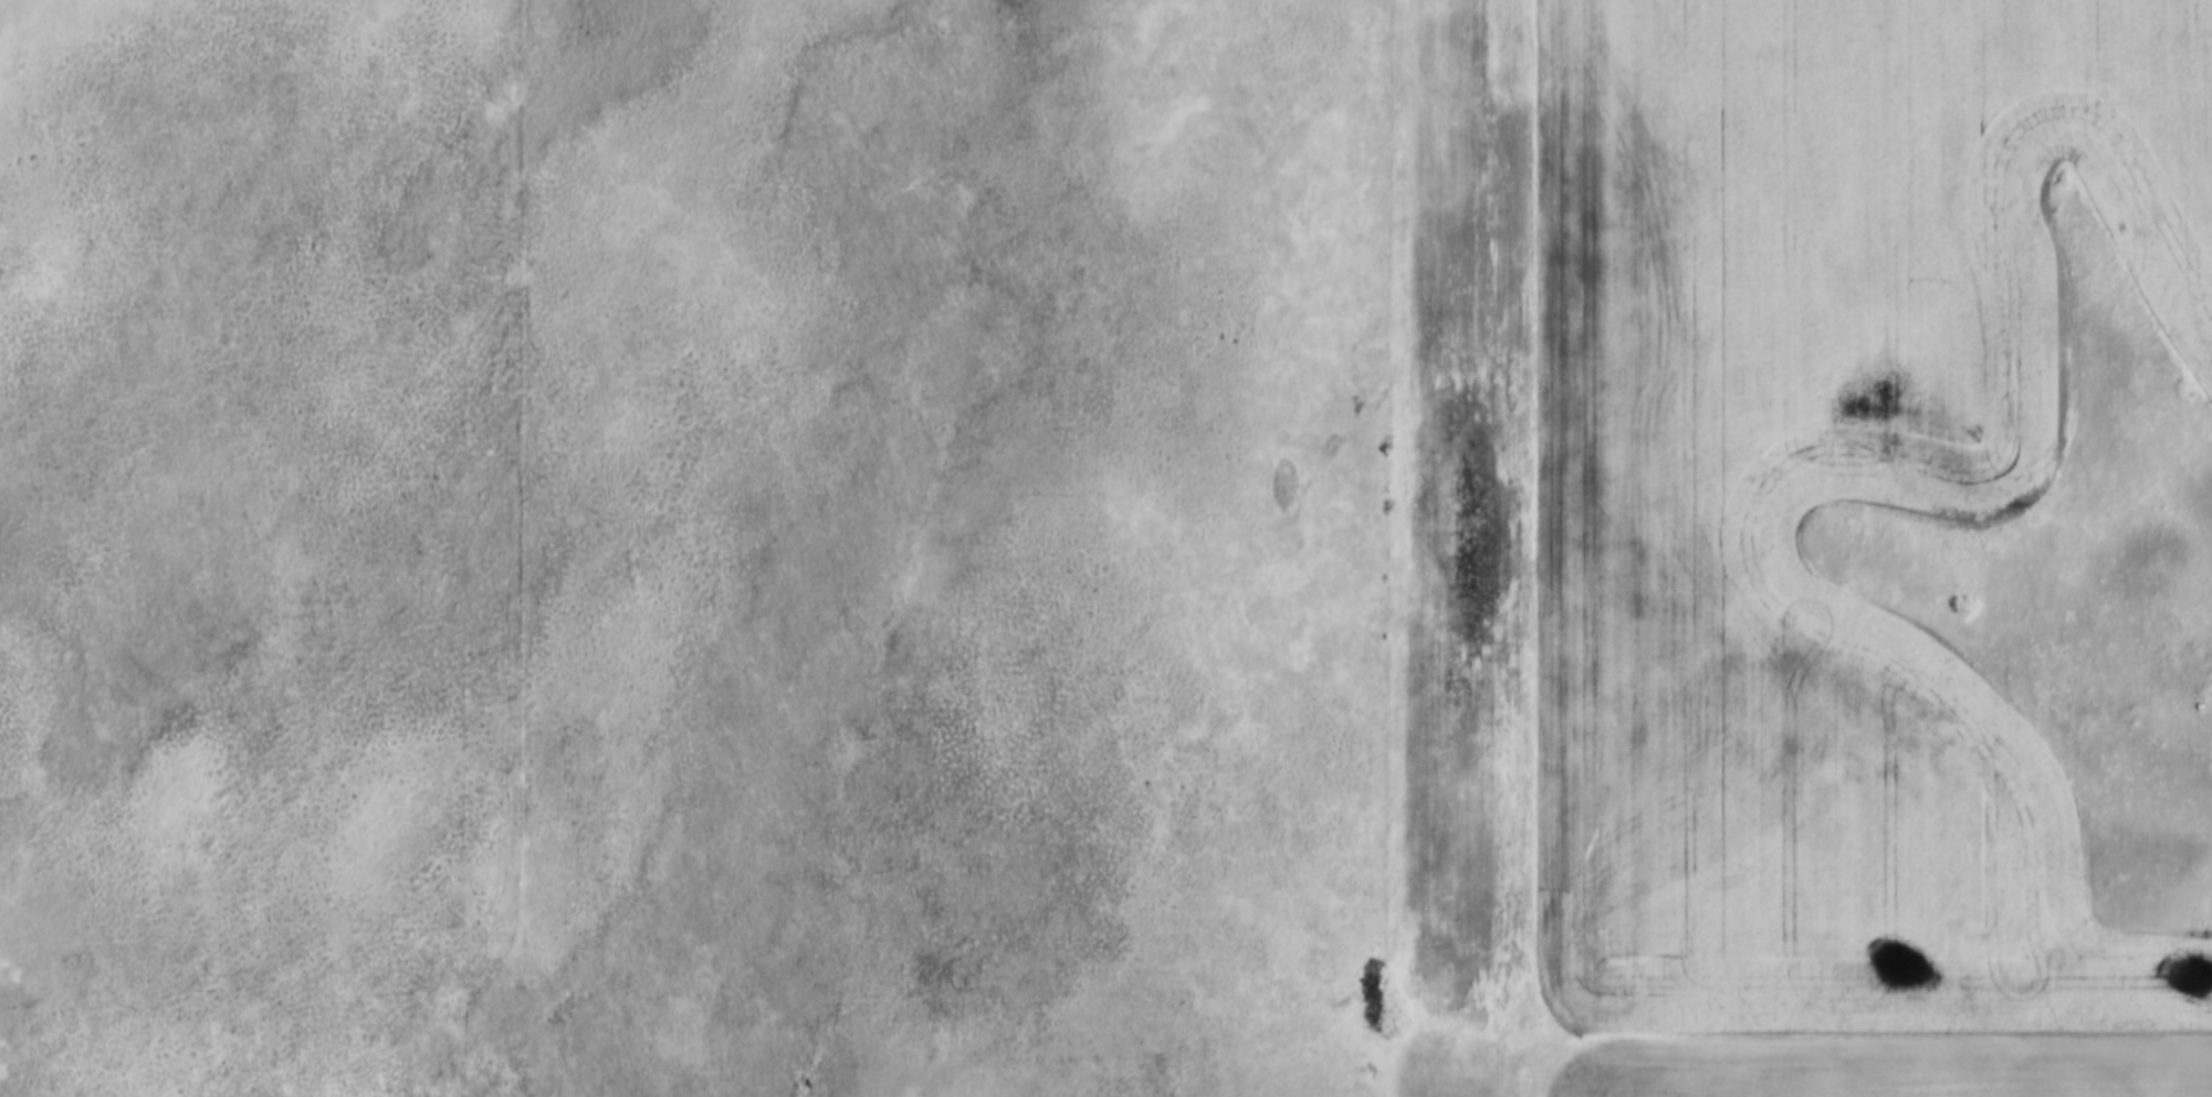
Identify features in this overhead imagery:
road: (1968, 1021)

